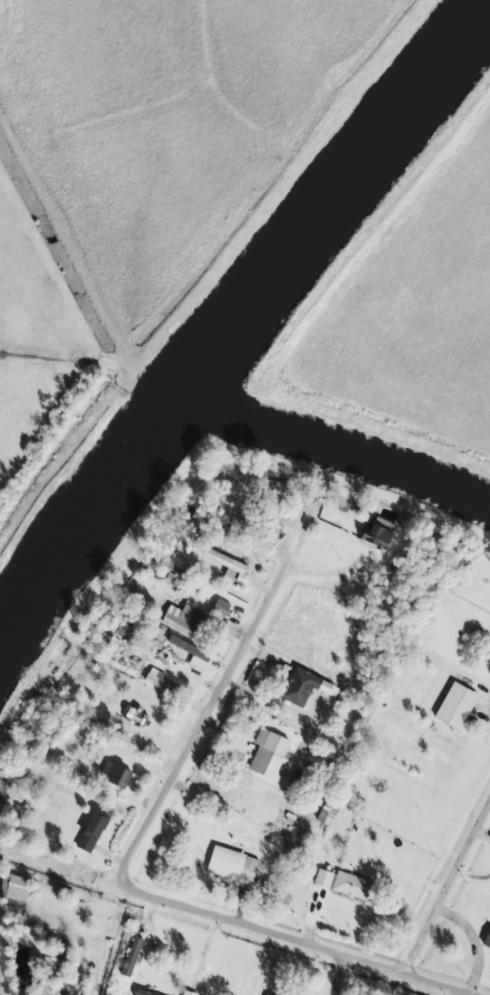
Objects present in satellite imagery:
building: (378, 534)
building: (225, 562)
building: (220, 608)
building: (185, 620)
building: (191, 653)
building: (158, 680)
building: (305, 687)
building: (456, 705)
building: (136, 717)
road: (198, 732)
building: (269, 754)
building: (115, 774)
building: (327, 814)
building: (92, 831)
building: (232, 865)
building: (323, 878)
building: (352, 886)
building: (15, 887)
road: (446, 889)
building: (487, 941)
road: (316, 945)
building: (131, 956)
road: (343, 975)
building: (142, 992)
building: (188, 993)
building: (265, 994)

